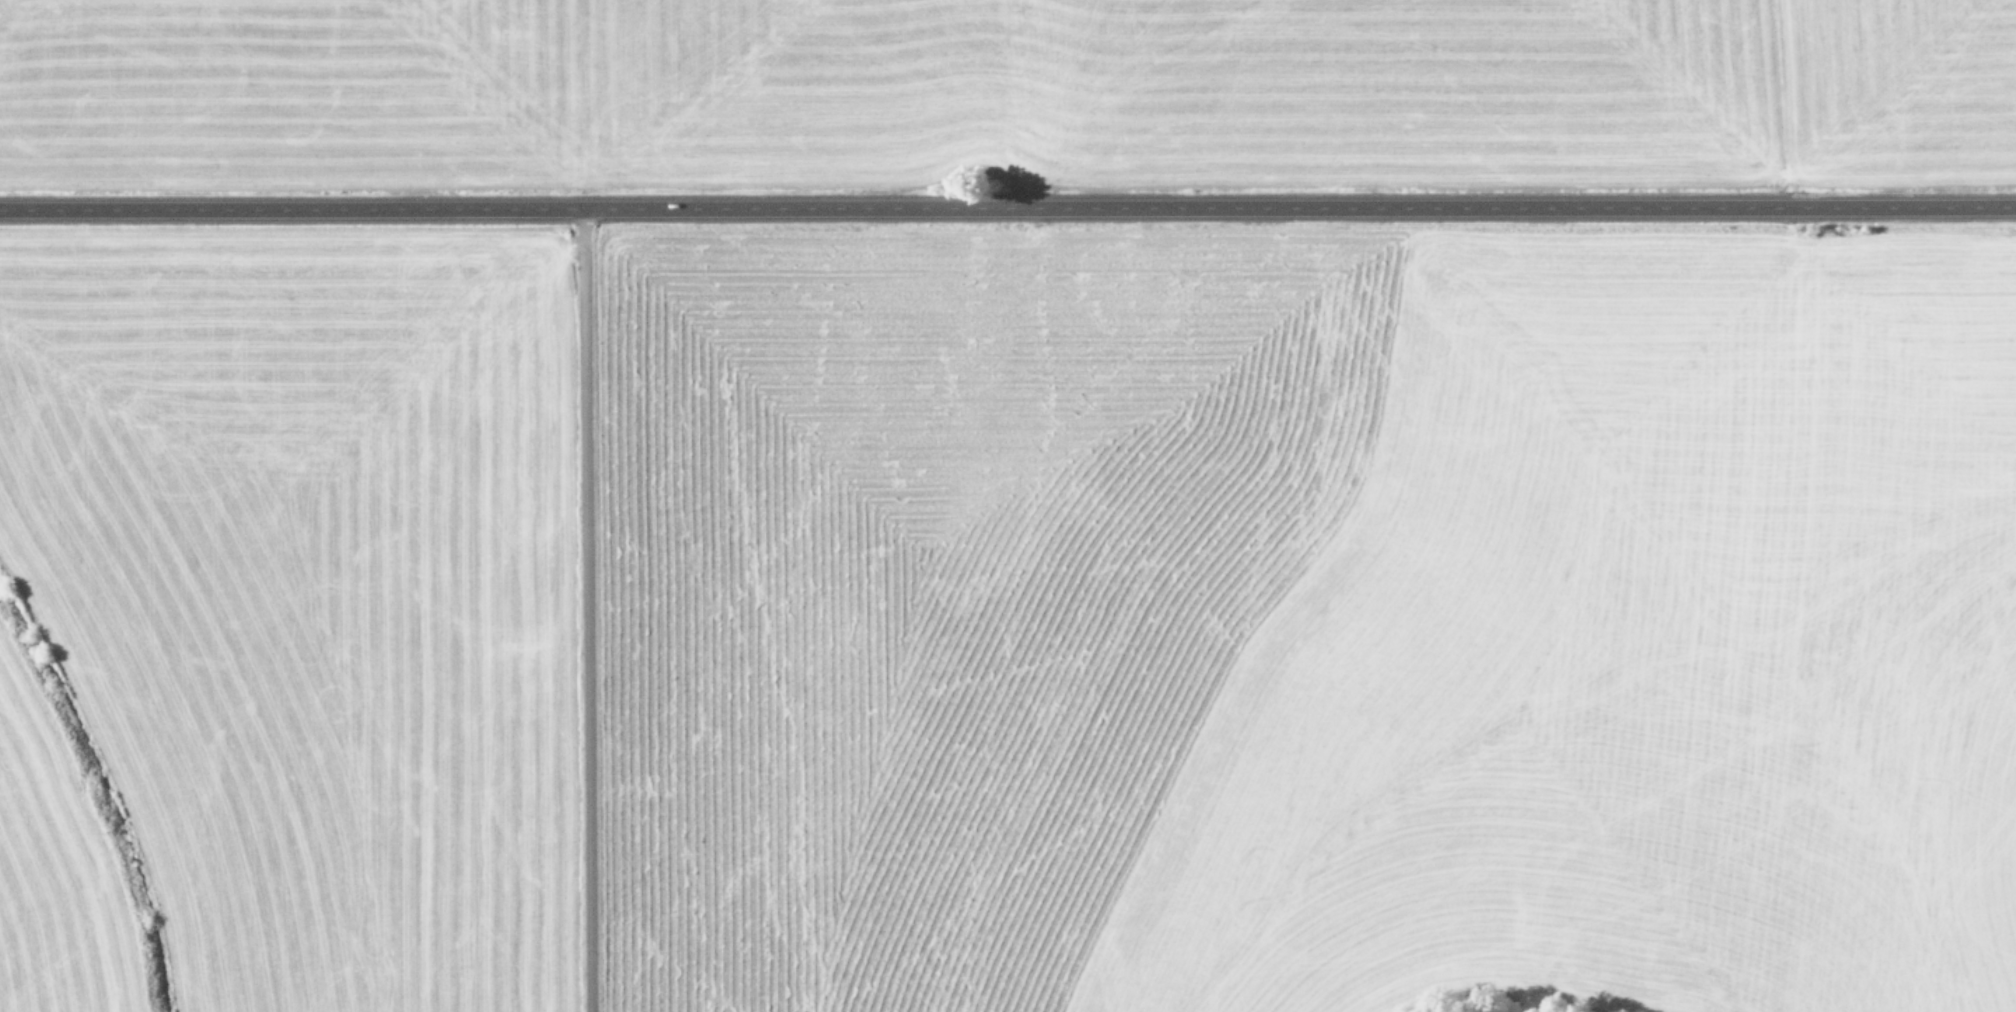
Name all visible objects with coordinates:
road: (1007, 205)
crop: (1008, 506)
road: (579, 609)

